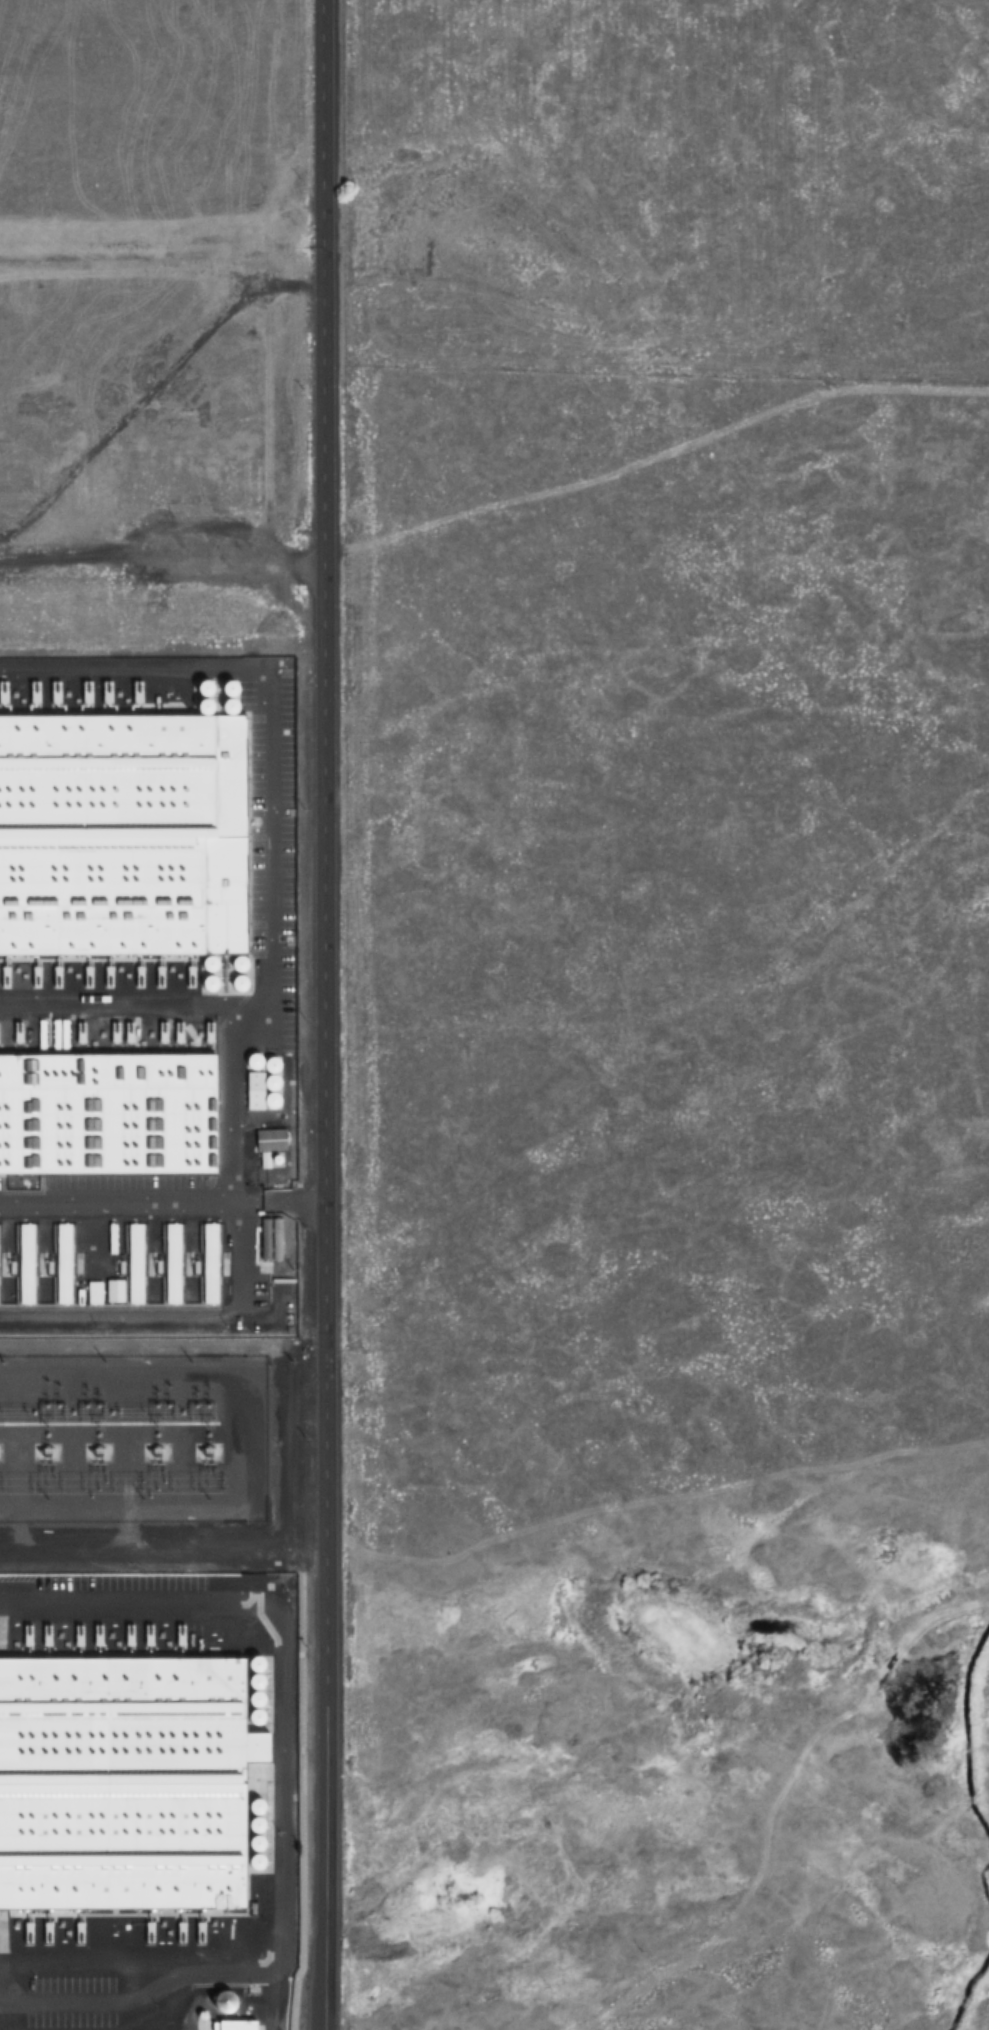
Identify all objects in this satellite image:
building: (120, 829)
road: (324, 1014)
building: (111, 1108)
building: (29, 1259)
building: (67, 1261)
building: (139, 1261)
building: (176, 1261)
building: (214, 1261)
building: (0, 1262)
power substation: (133, 1434)
building: (122, 1784)

